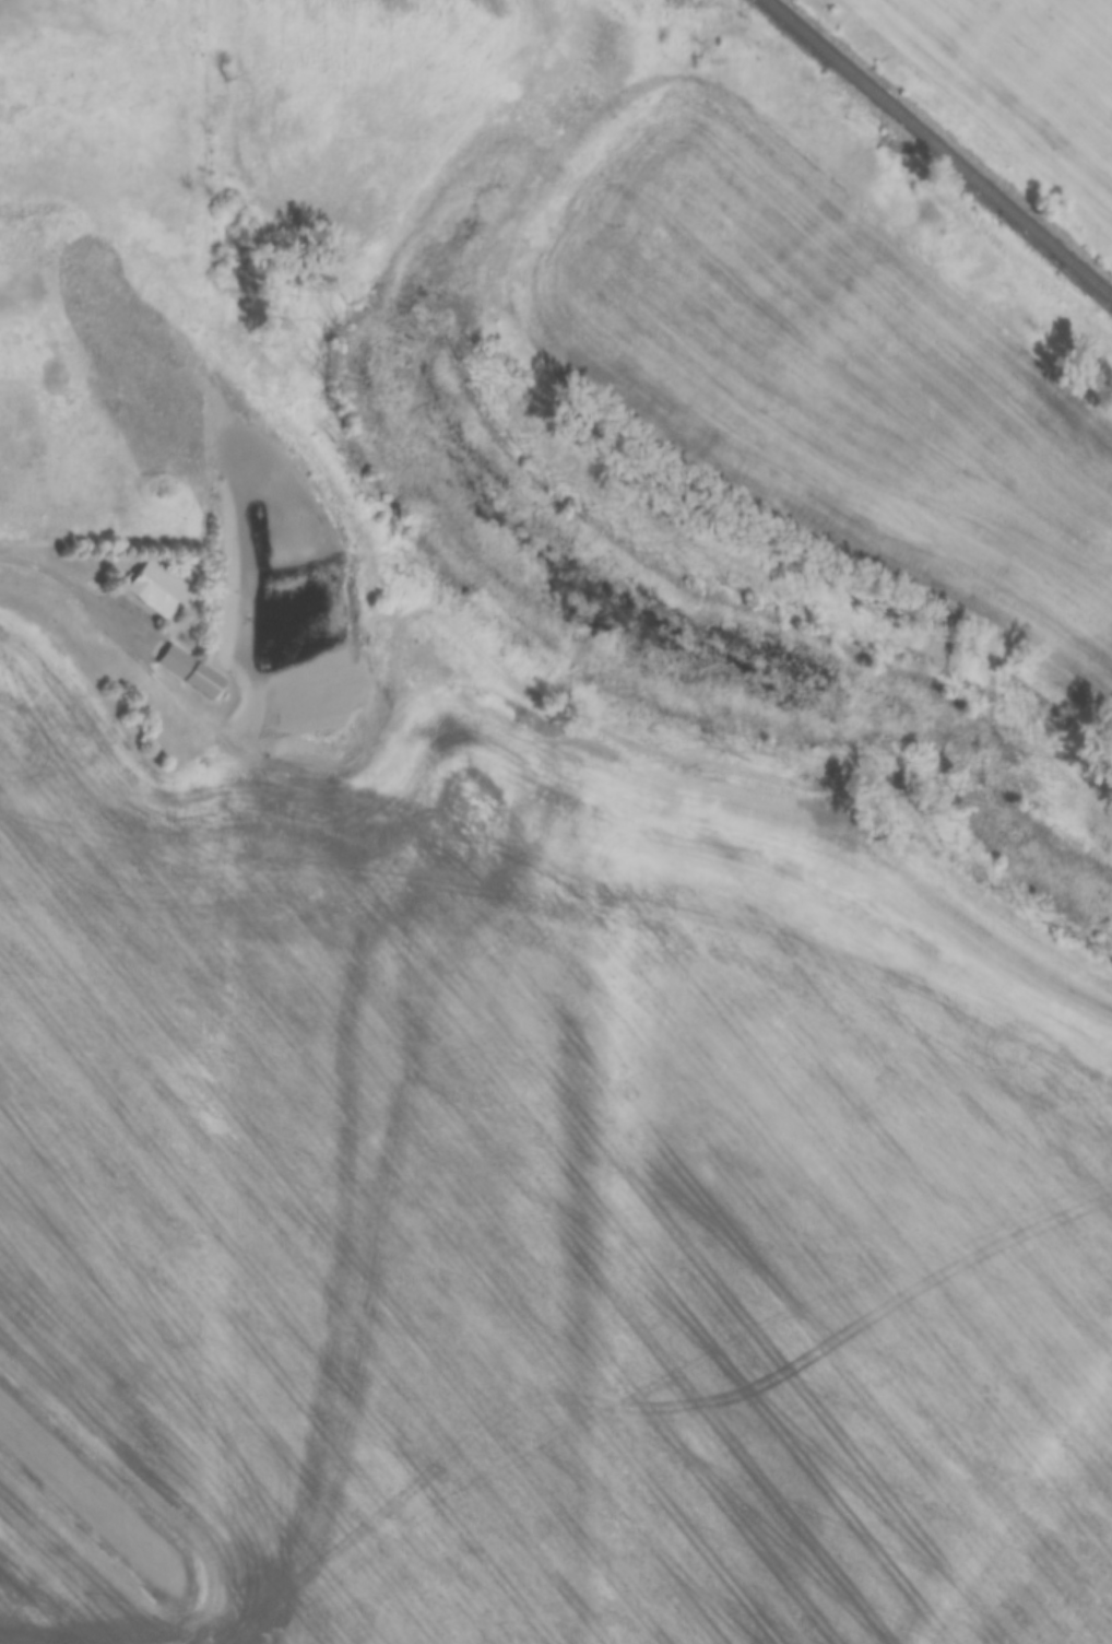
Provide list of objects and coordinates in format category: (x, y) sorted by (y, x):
railway: (938, 150)
road: (72, 579)
building: (161, 588)
building: (193, 671)

